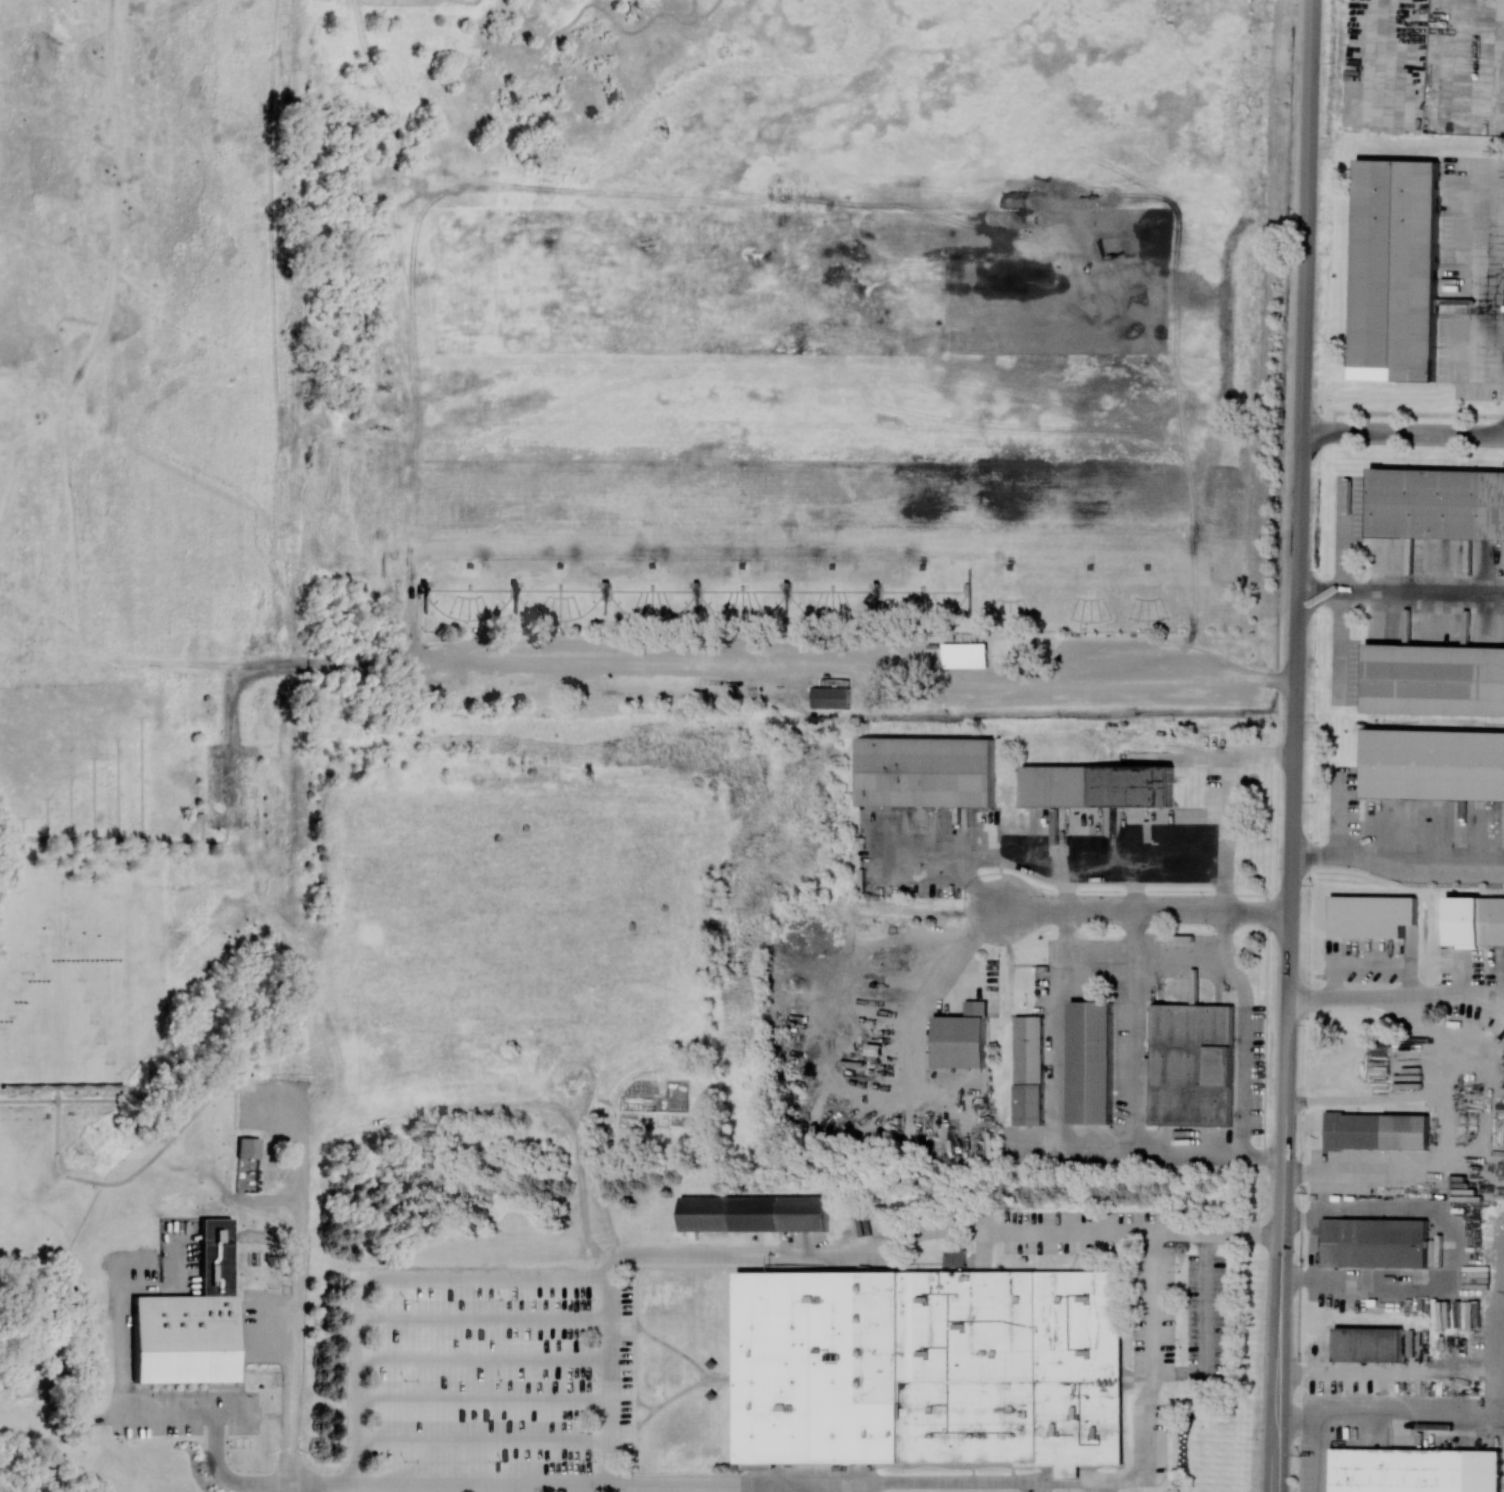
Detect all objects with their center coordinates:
road: (1382, 50)
road: (1309, 216)
building: (1396, 270)
road: (1475, 277)
park: (589, 416)
road: (1404, 434)
building: (1437, 504)
road: (1401, 583)
road: (1298, 642)
road: (863, 672)
building: (1435, 680)
building: (830, 697)
building: (1435, 765)
building: (930, 773)
road: (1228, 777)
building: (1097, 786)
road: (959, 848)
road: (1113, 864)
road: (1397, 869)
road: (1064, 888)
road: (1133, 888)
road: (1146, 913)
building: (1372, 915)
building: (1485, 924)
road: (1134, 935)
road: (1223, 935)
road: (1236, 976)
road: (935, 985)
road: (1497, 990)
road: (1389, 994)
road: (1497, 999)
building: (961, 1041)
building: (1096, 1064)
building: (1192, 1065)
building: (1028, 1070)
road: (1364, 1097)
building: (1376, 1131)
road: (1284, 1136)
road: (1062, 1139)
road: (1446, 1144)
building: (247, 1147)
building: (754, 1213)
building: (1374, 1243)
road: (1450, 1244)
building: (955, 1257)
road: (834, 1258)
road: (300, 1273)
road: (378, 1276)
building: (189, 1321)
road: (1208, 1328)
building: (1369, 1344)
building: (930, 1368)
road: (166, 1411)
road: (1390, 1415)
road: (1503, 1417)
road: (1322, 1455)
road: (1274, 1456)
road: (289, 1471)
building: (1419, 1472)
road: (842, 1484)
road: (860, 1488)

